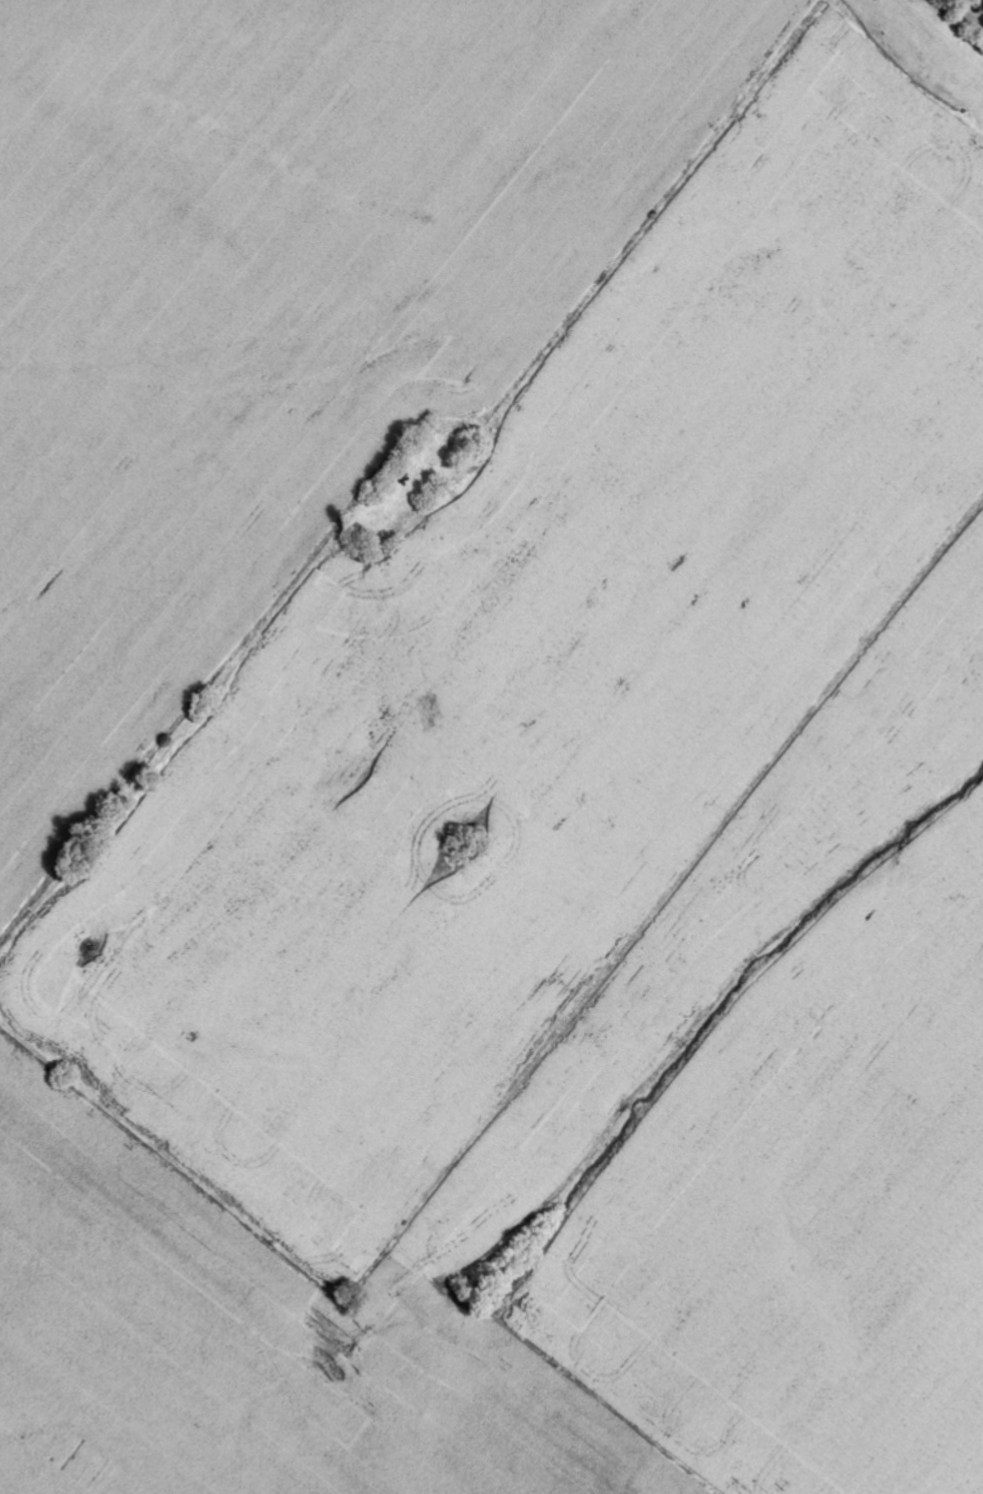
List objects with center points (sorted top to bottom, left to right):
road: (925, 165)

